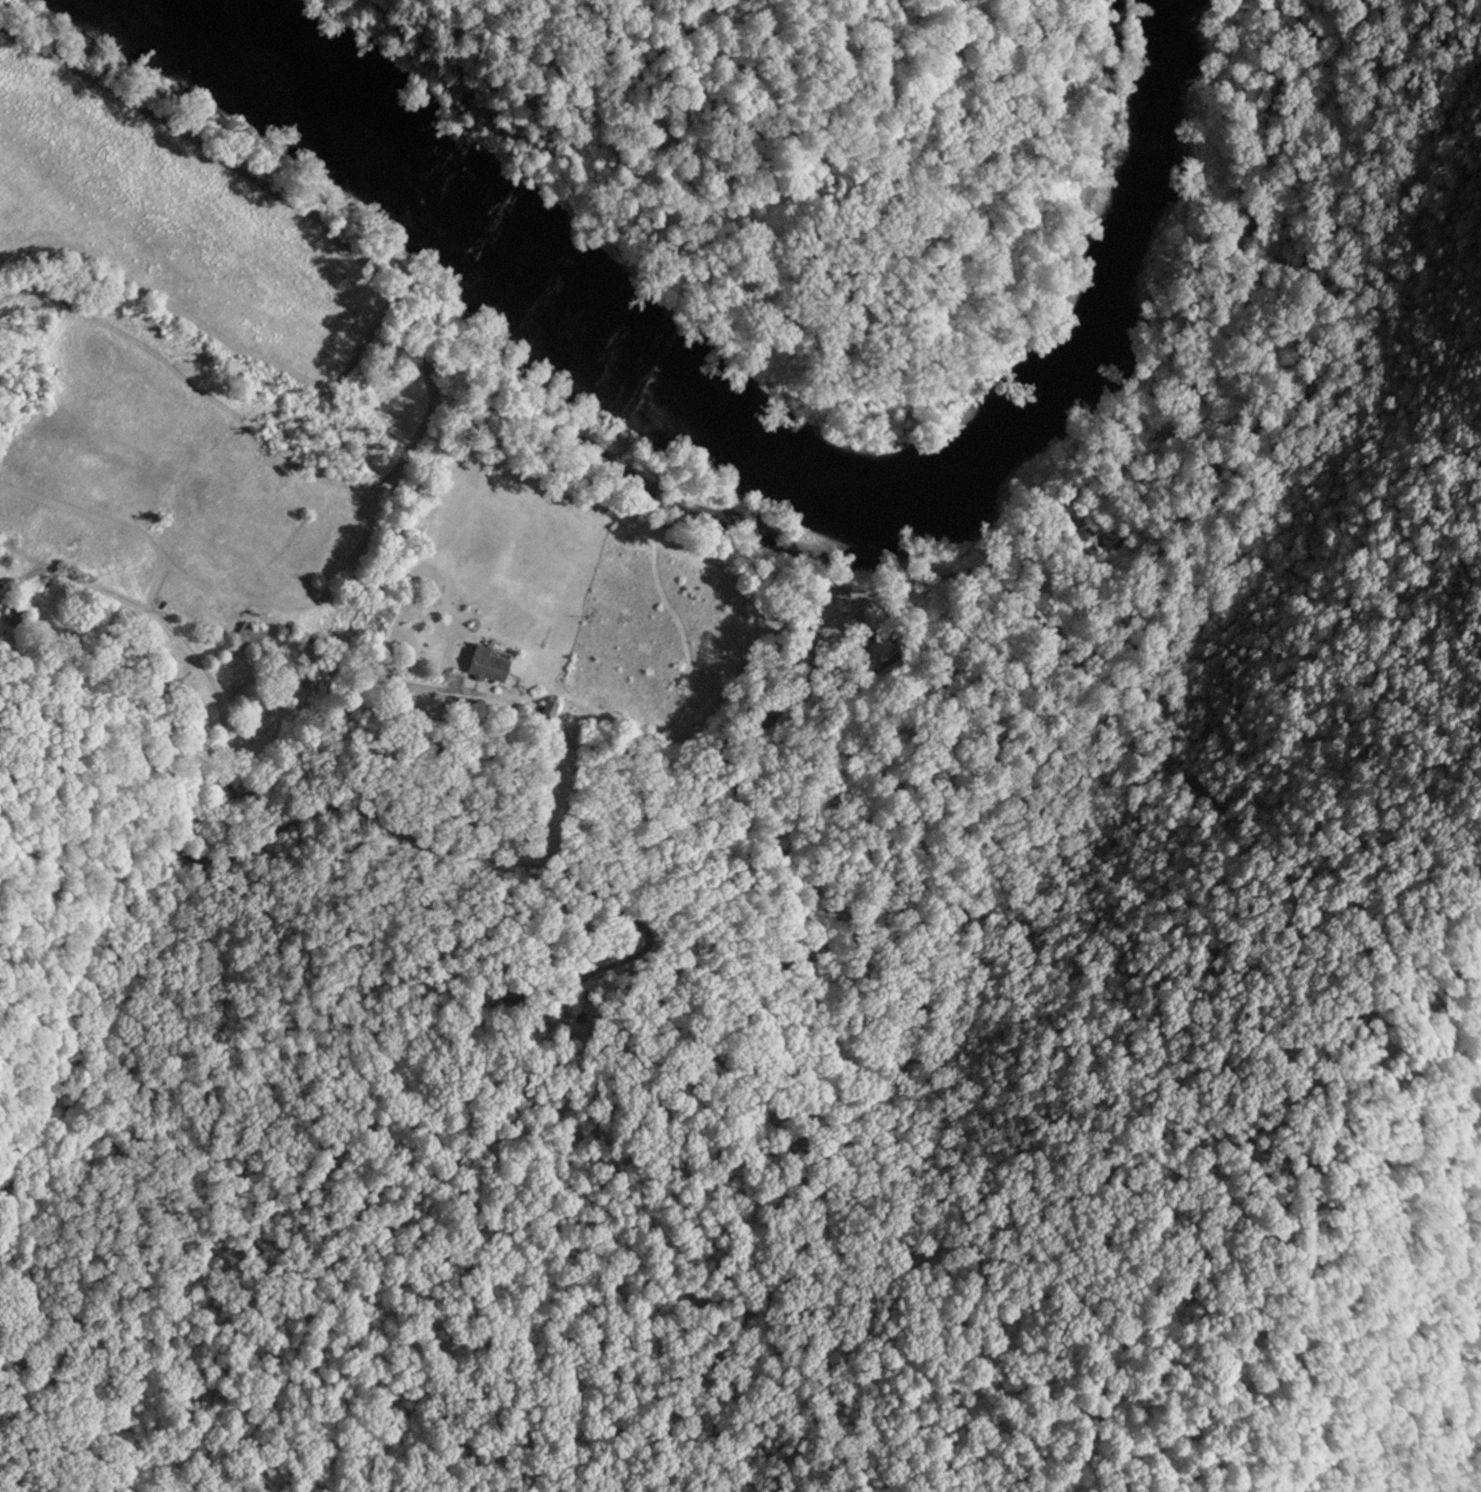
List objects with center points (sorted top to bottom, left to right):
crop: (172, 222)
river: (773, 438)
crop: (334, 548)
road: (197, 622)
building: (250, 632)
building: (488, 661)
road: (698, 706)
building: (502, 987)

